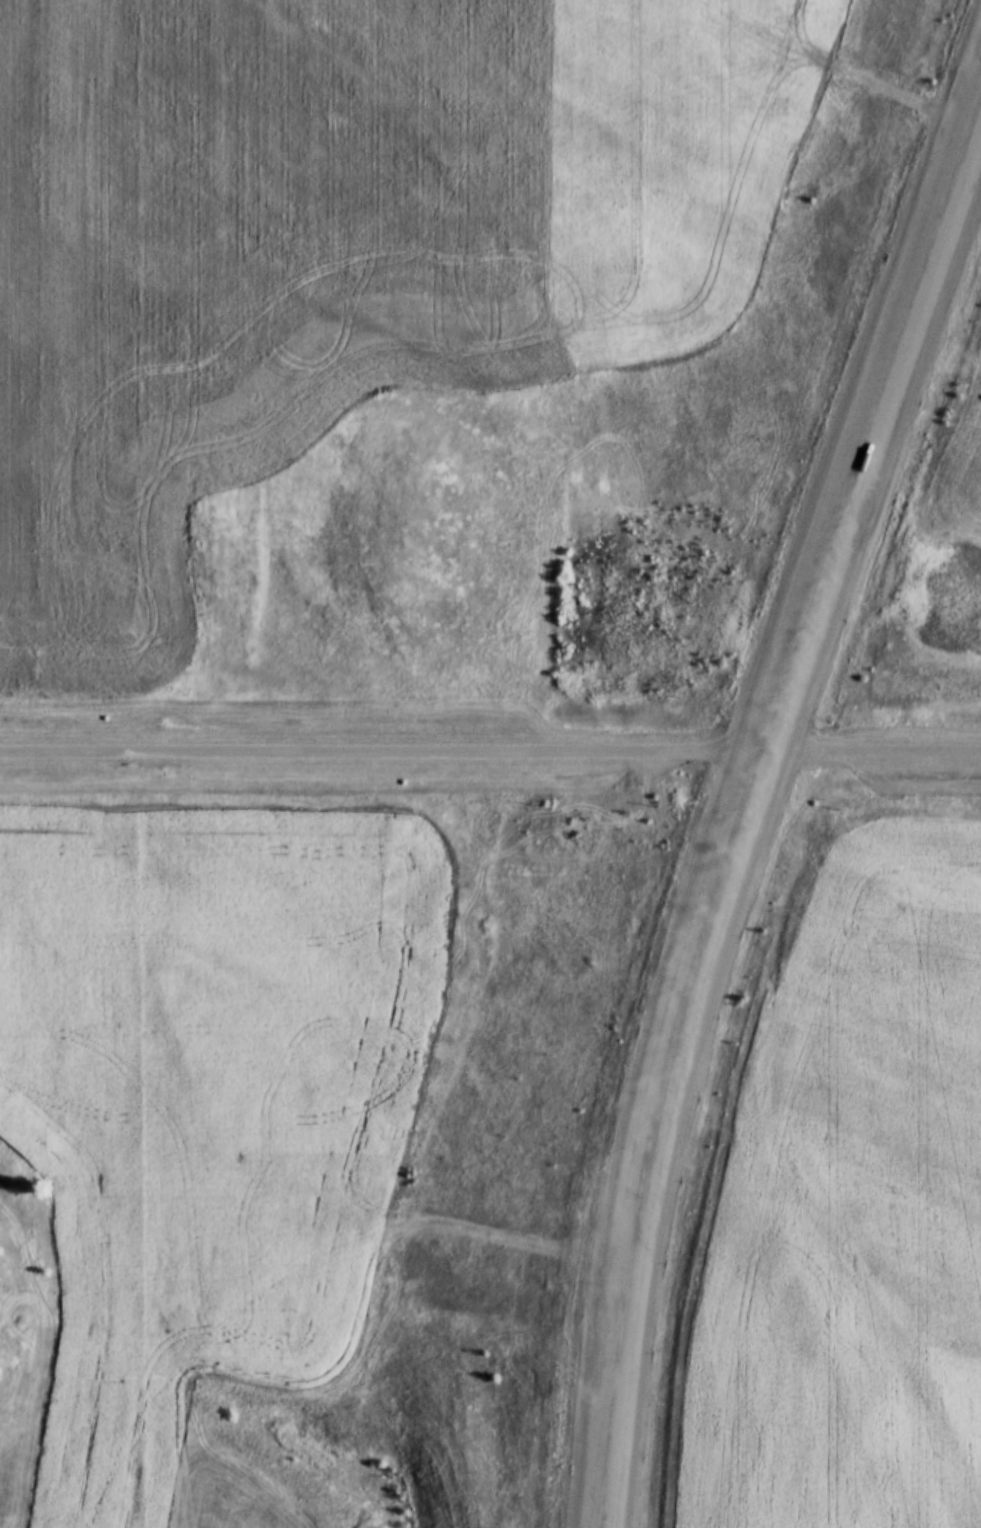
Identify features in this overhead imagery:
road: (680, 206)
road: (868, 416)
road: (490, 747)
road: (676, 1135)

